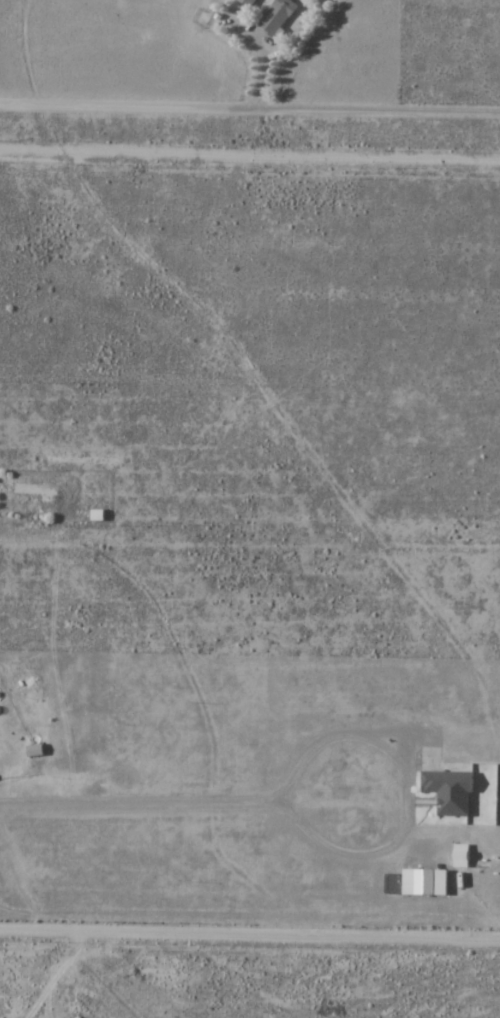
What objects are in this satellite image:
building: (249, 2)
building: (41, 491)

